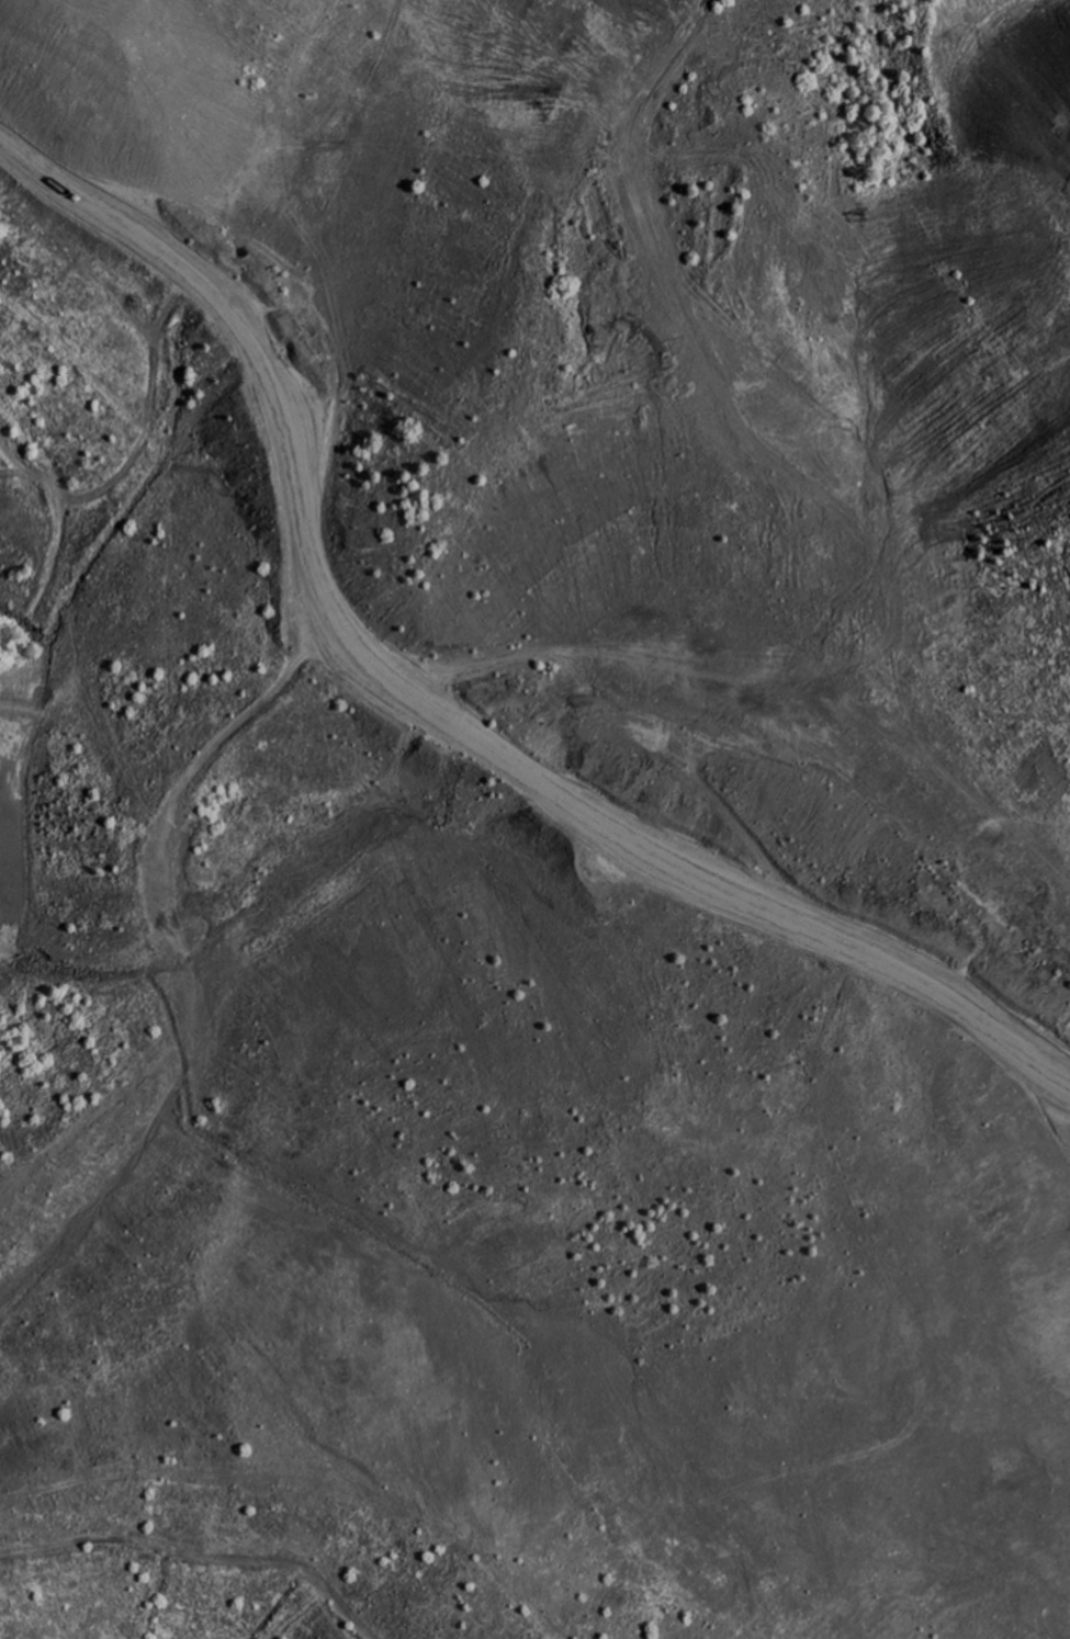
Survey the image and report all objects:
quarry: (534, 820)

